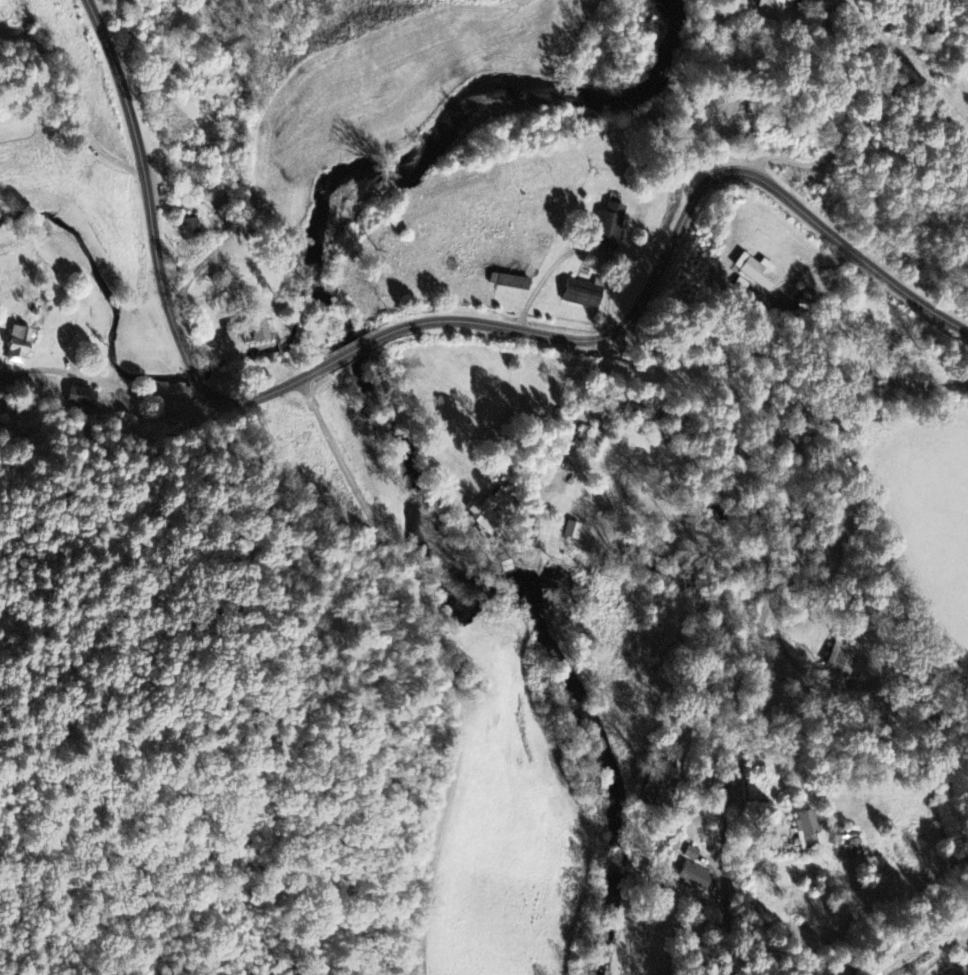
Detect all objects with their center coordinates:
building: (774, 6)
building: (723, 109)
road: (793, 205)
road: (148, 215)
building: (194, 229)
building: (612, 234)
building: (761, 273)
building: (514, 284)
building: (587, 297)
road: (447, 319)
building: (24, 348)
road: (103, 381)
building: (79, 398)
road: (860, 494)
building: (490, 516)
building: (576, 531)
road: (437, 654)
building: (844, 657)
road: (773, 693)
building: (655, 792)
building: (809, 832)
building: (694, 855)
building: (695, 878)

